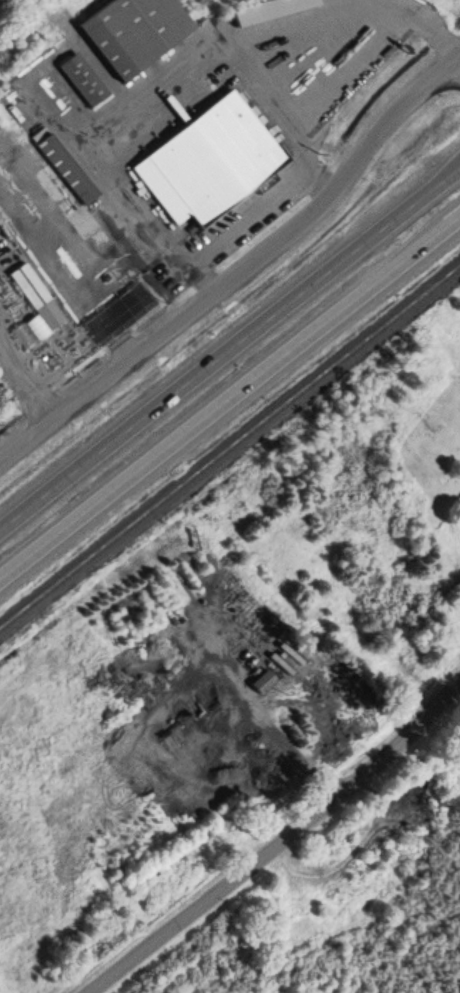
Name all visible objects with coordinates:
building: (268, 9)
building: (133, 32)
building: (82, 78)
building: (208, 160)
building: (63, 164)
road: (441, 179)
road: (242, 268)
building: (28, 284)
building: (30, 330)
road: (211, 360)
road: (229, 392)
railway: (230, 446)
building: (262, 679)
road: (274, 842)

